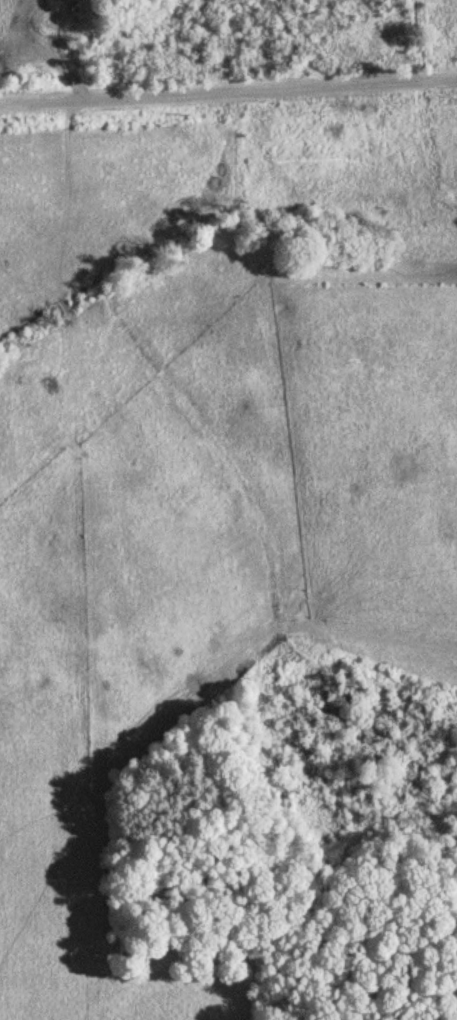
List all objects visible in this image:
road: (228, 112)

